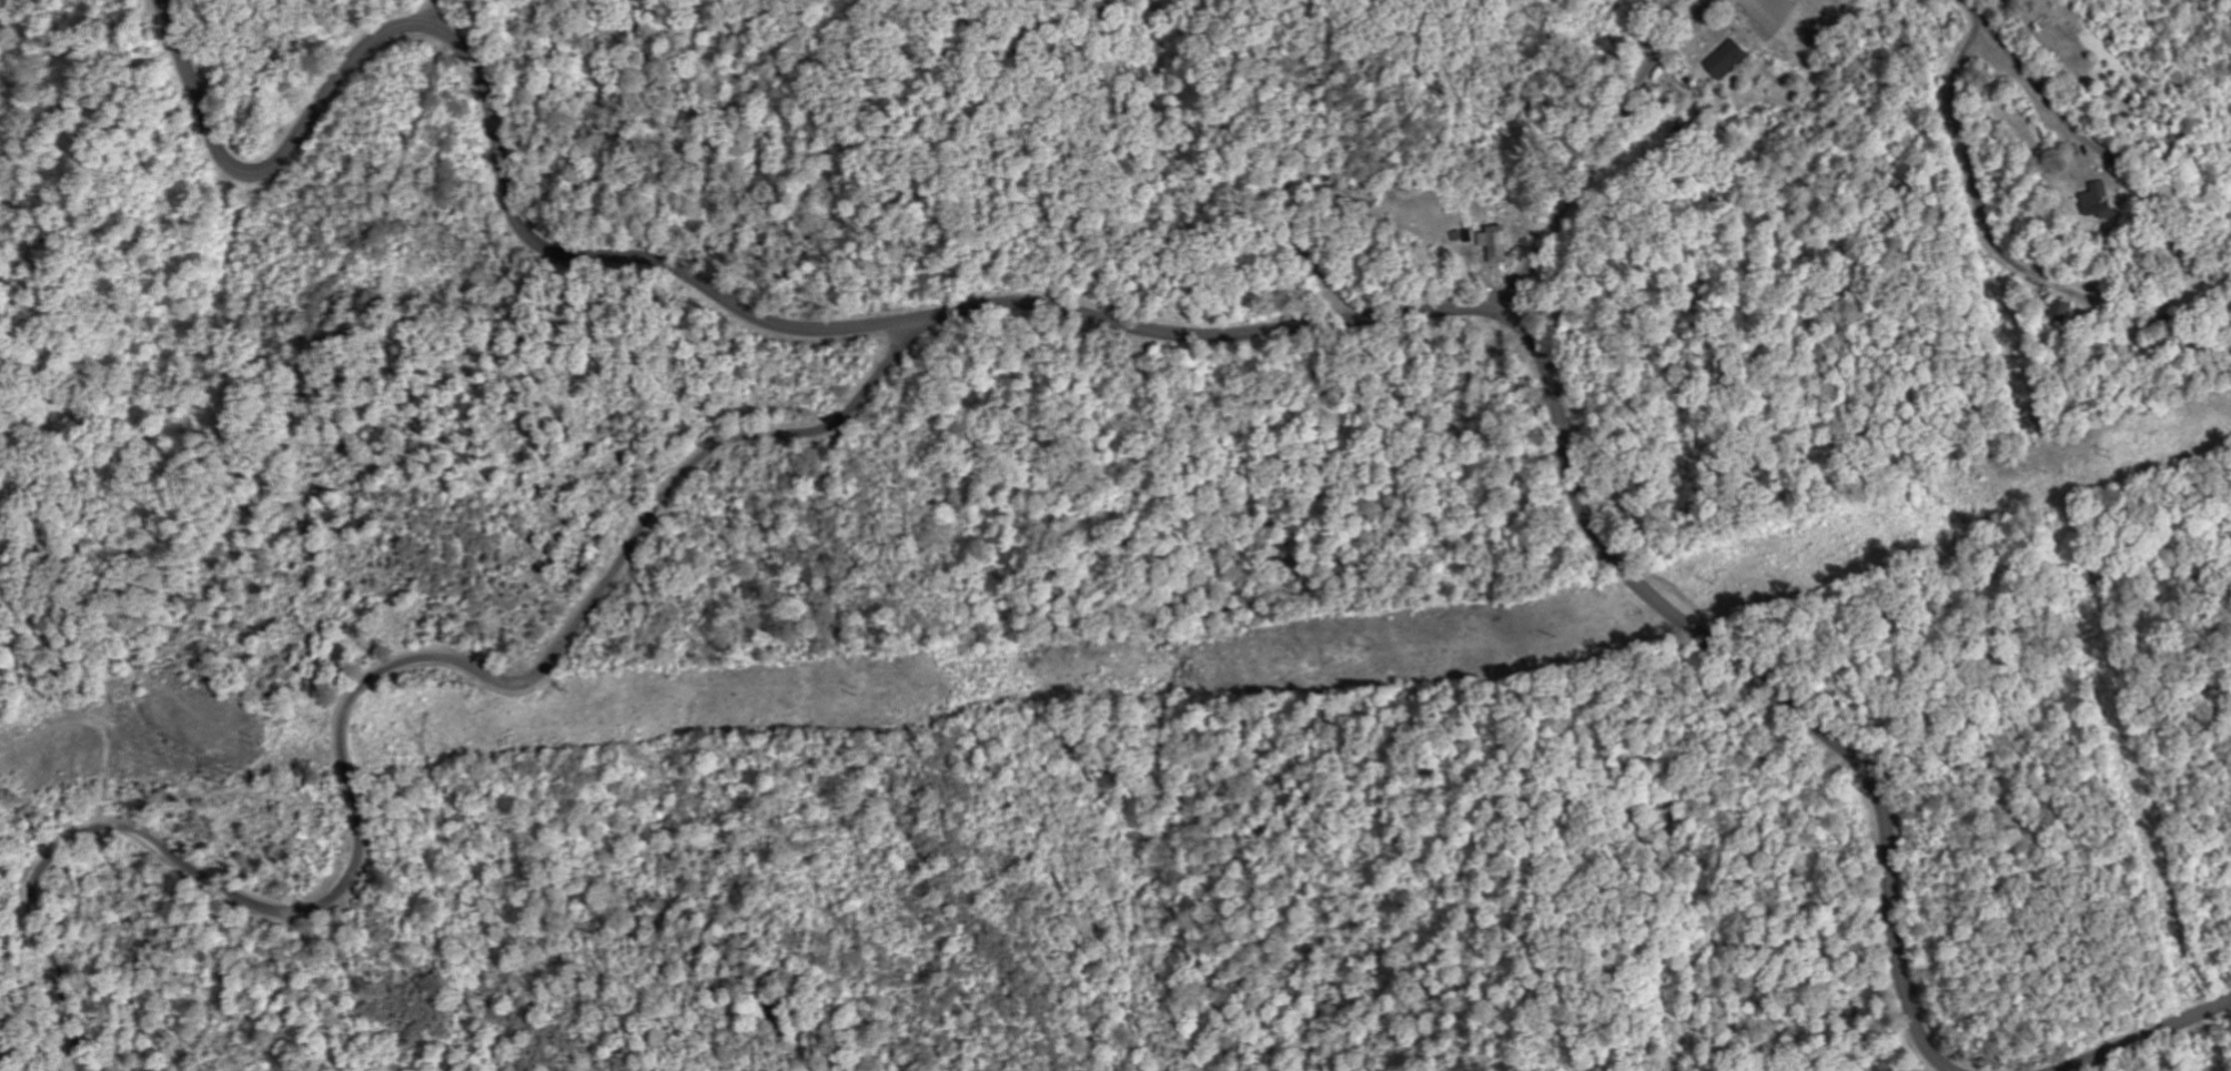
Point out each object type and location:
building: (1732, 59)
road: (2083, 80)
road: (1601, 153)
building: (2104, 194)
building: (2109, 211)
building: (1500, 244)
road: (1315, 263)
road: (1122, 326)
road: (352, 698)
road: (2149, 1037)

